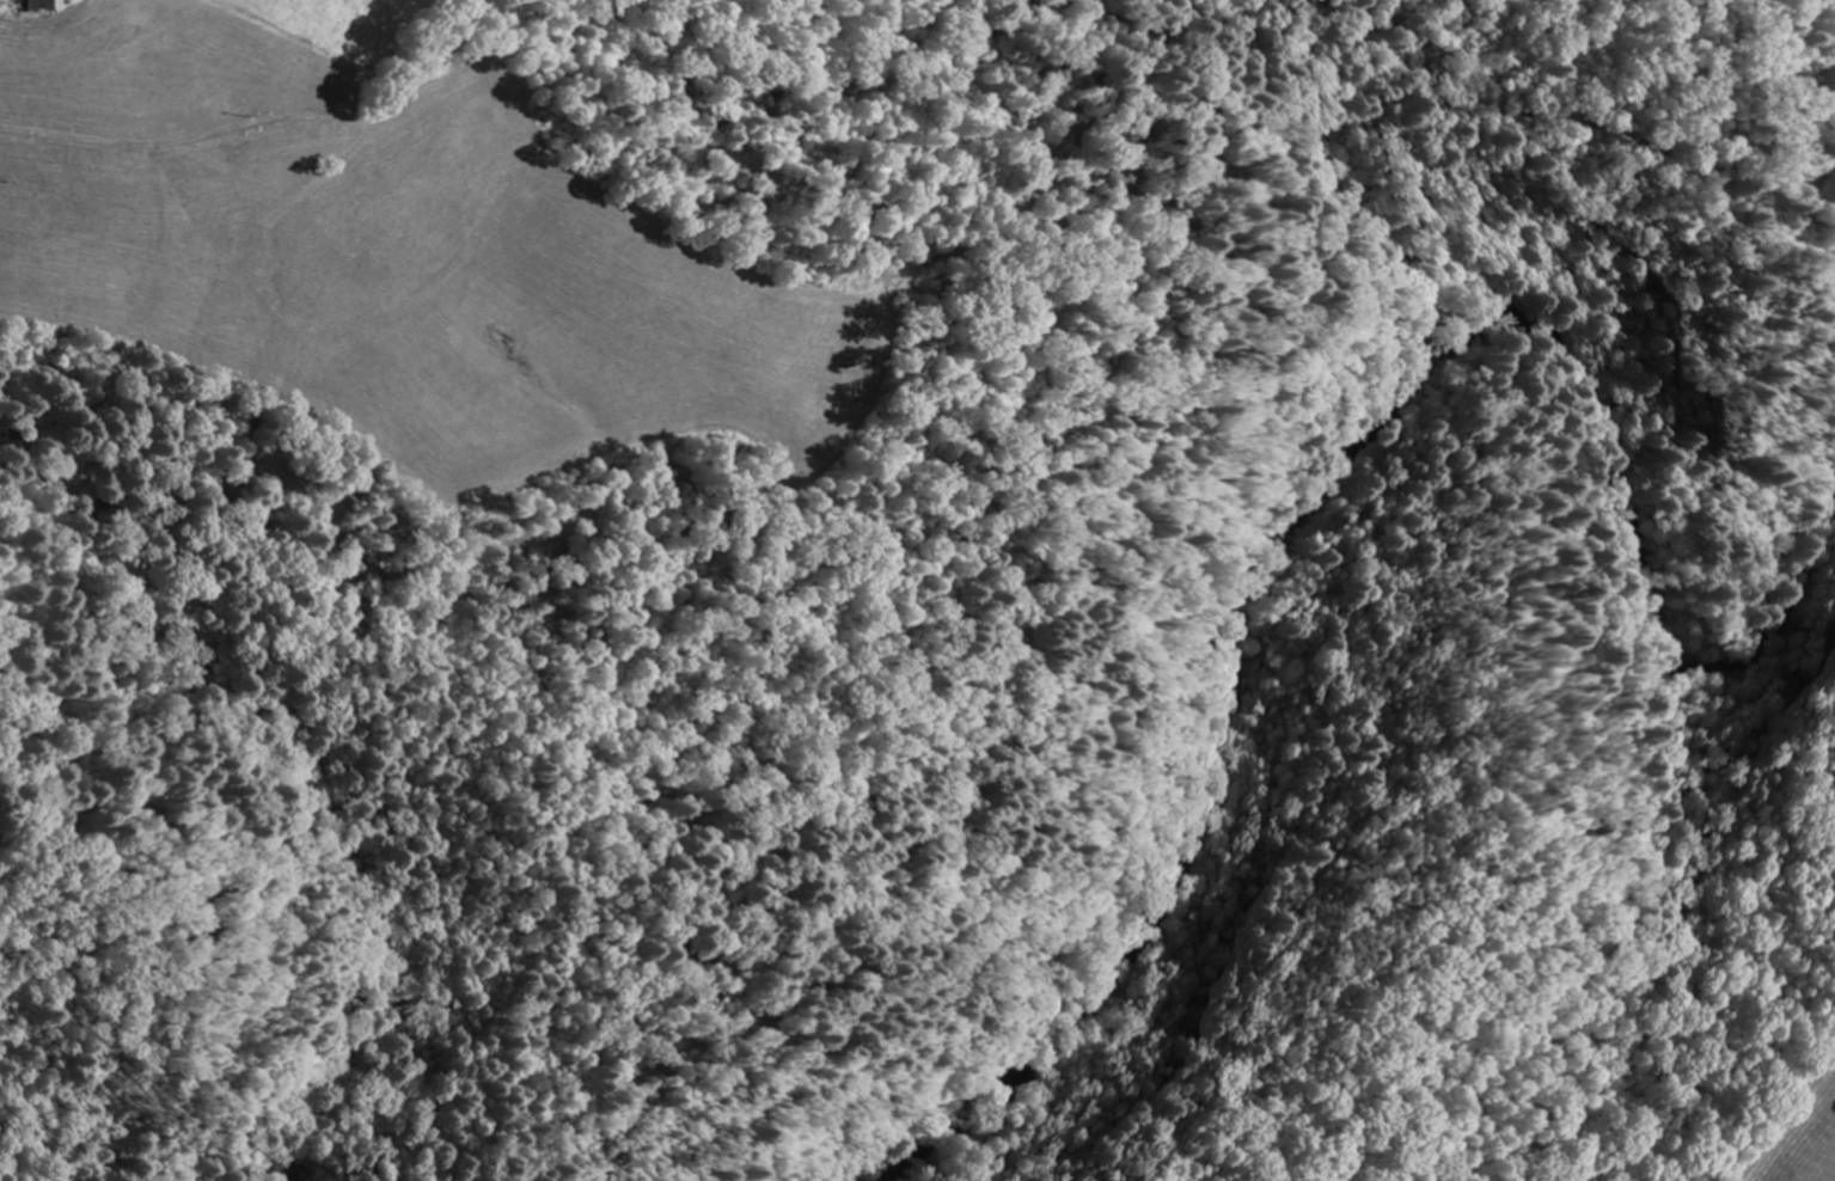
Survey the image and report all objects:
building: (42, 6)

